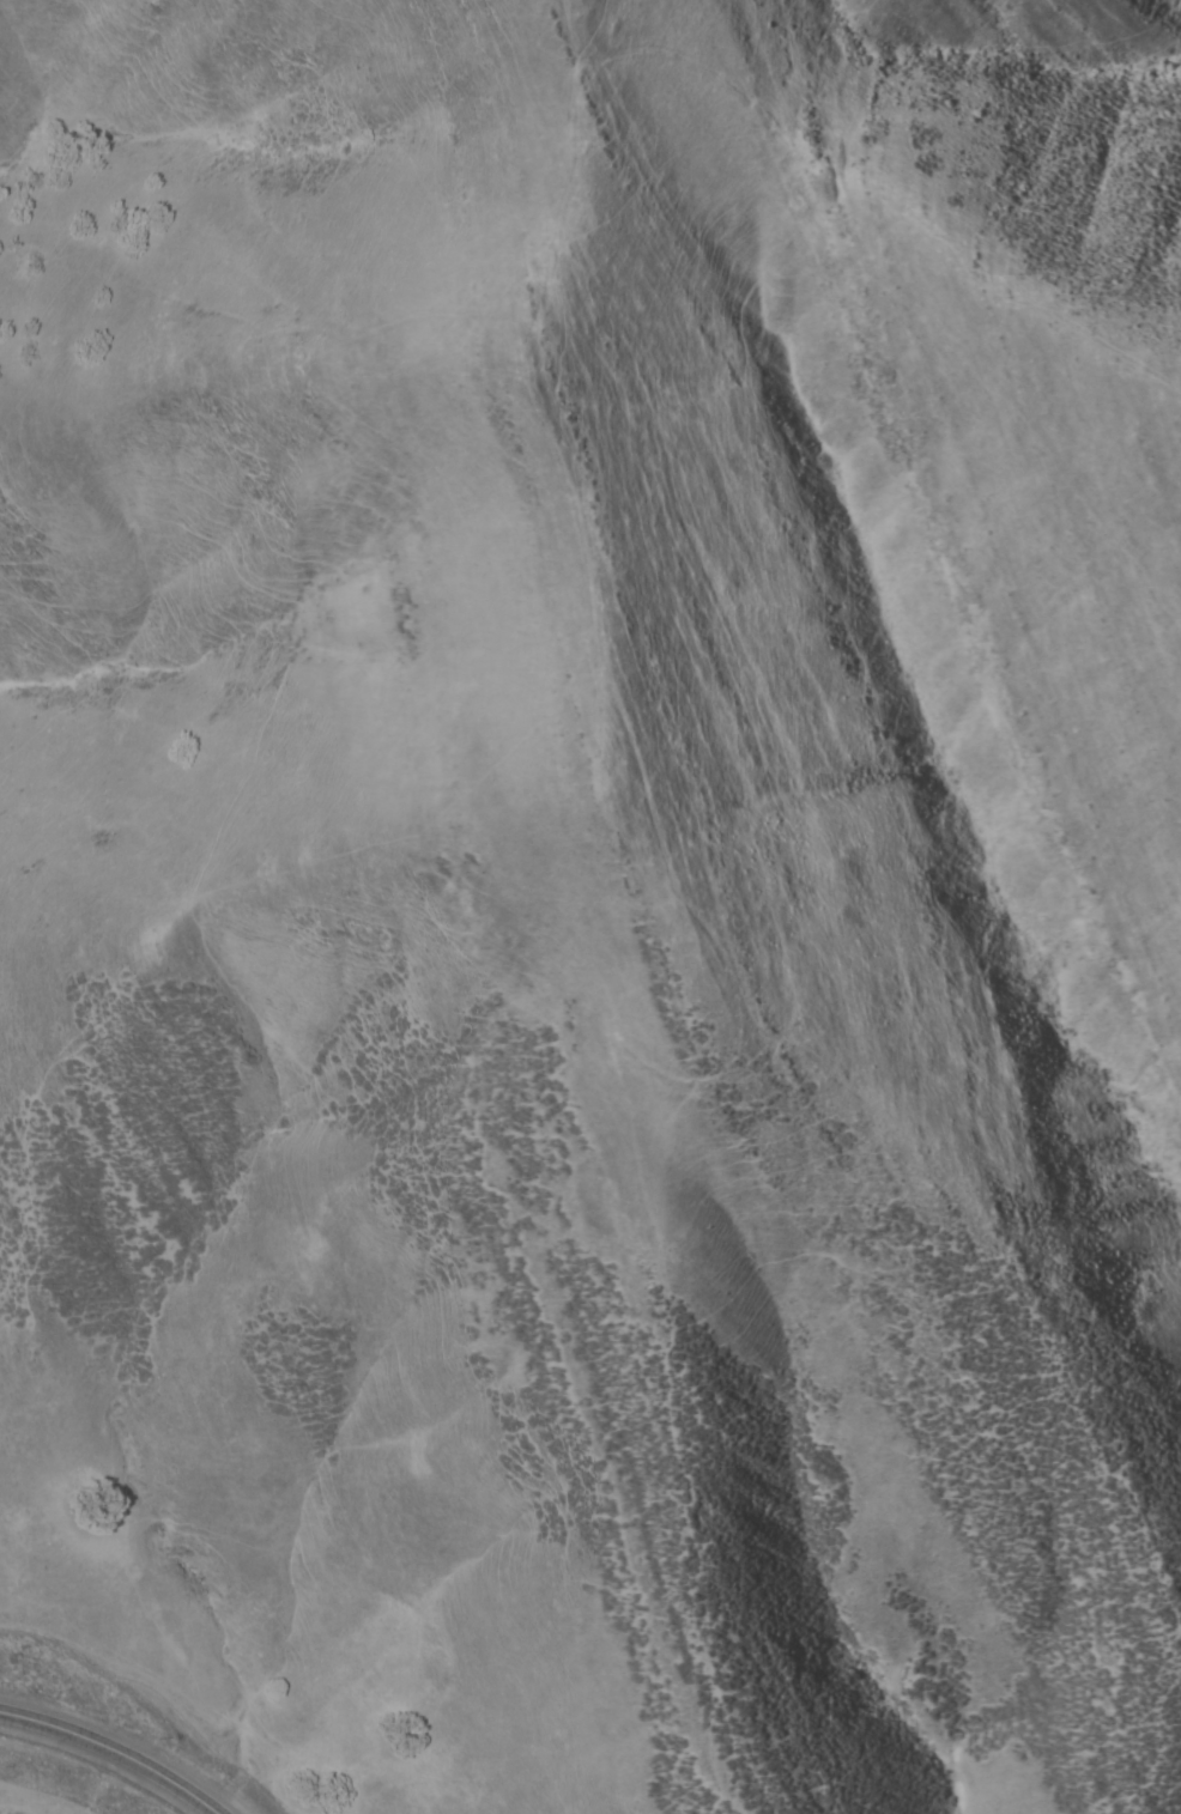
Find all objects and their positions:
road: (133, 1733)

